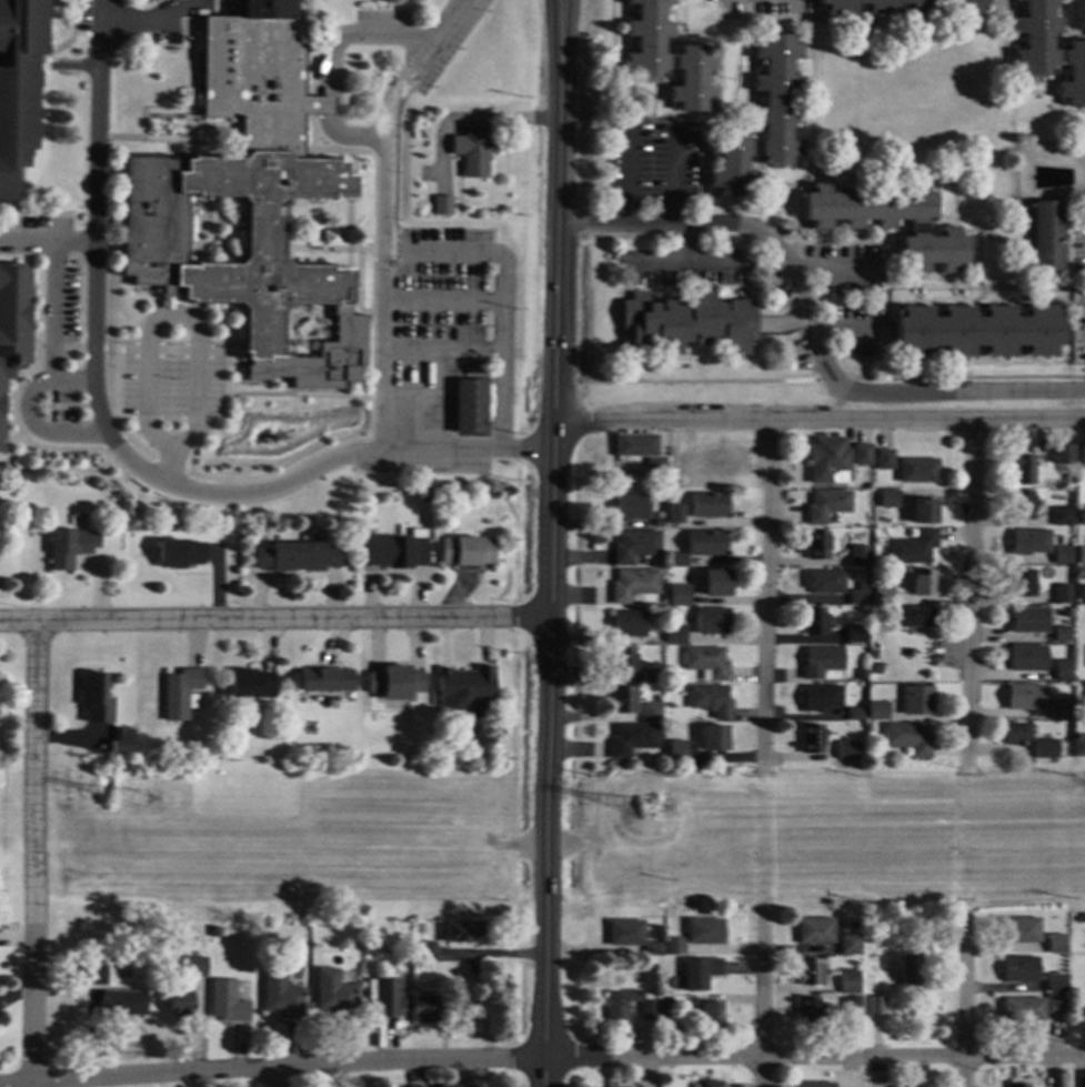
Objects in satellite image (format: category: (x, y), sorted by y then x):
building: (267, 9)
building: (923, 9)
road: (165, 13)
road: (1072, 17)
road: (70, 19)
road: (855, 26)
road: (1067, 30)
road: (690, 31)
road: (1064, 32)
road: (83, 33)
road: (350, 33)
road: (1066, 34)
building: (1049, 51)
building: (669, 57)
road: (44, 60)
road: (2, 63)
road: (73, 66)
road: (616, 66)
road: (751, 76)
road: (1052, 79)
road: (1012, 83)
road: (1044, 83)
road: (1054, 83)
building: (19, 85)
road: (191, 85)
road: (655, 88)
road: (812, 92)
road: (657, 93)
road: (310, 104)
road: (329, 107)
road: (468, 117)
road: (719, 119)
road: (687, 120)
building: (762, 121)
building: (261, 127)
road: (350, 137)
road: (189, 148)
building: (472, 150)
road: (350, 163)
road: (756, 170)
road: (770, 173)
road: (843, 173)
road: (627, 174)
road: (704, 174)
road: (674, 175)
road: (1012, 187)
road: (744, 200)
building: (442, 205)
road: (21, 213)
road: (385, 215)
road: (234, 218)
road: (940, 218)
road: (944, 219)
building: (890, 221)
road: (201, 222)
road: (221, 222)
building: (1047, 236)
road: (210, 240)
road: (48, 241)
road: (687, 242)
road: (326, 249)
road: (1068, 253)
road: (976, 256)
road: (212, 258)
road: (690, 260)
road: (828, 265)
road: (885, 276)
road: (934, 276)
road: (102, 280)
road: (356, 280)
building: (233, 281)
road: (916, 283)
road: (1079, 285)
road: (351, 292)
road: (744, 292)
road: (672, 293)
road: (502, 295)
road: (1041, 295)
road: (999, 296)
road: (999, 296)
road: (1041, 296)
road: (947, 300)
road: (916, 301)
road: (443, 303)
road: (359, 312)
road: (187, 315)
building: (11, 322)
building: (687, 323)
road: (616, 325)
road: (782, 325)
road: (811, 328)
road: (51, 329)
road: (300, 329)
road: (854, 331)
building: (979, 332)
road: (32, 346)
road: (70, 346)
road: (631, 350)
road: (170, 351)
road: (443, 351)
road: (640, 353)
road: (232, 363)
road: (1038, 363)
road: (18, 376)
road: (24, 380)
road: (284, 385)
road: (294, 394)
road: (432, 399)
building: (470, 406)
road: (122, 417)
road: (169, 417)
road: (820, 423)
road: (36, 427)
road: (6, 437)
road: (9, 444)
road: (111, 444)
building: (641, 451)
road: (118, 452)
building: (1064, 454)
building: (1082, 454)
building: (862, 455)
building: (827, 461)
building: (883, 461)
building: (717, 465)
building: (689, 466)
building: (1082, 466)
road: (171, 469)
building: (1023, 470)
building: (917, 472)
road: (269, 477)
building: (1067, 479)
building: (425, 494)
building: (451, 499)
building: (888, 500)
building: (709, 505)
building: (826, 506)
building: (1022, 506)
building: (632, 507)
building: (923, 512)
building: (674, 514)
building: (1083, 515)
building: (1062, 517)
building: (659, 523)
building: (1028, 542)
road: (553, 543)
building: (706, 543)
building: (635, 546)
building: (820, 546)
building: (71, 547)
building: (912, 548)
building: (468, 551)
building: (394, 552)
building: (180, 554)
building: (858, 555)
building: (1062, 555)
building: (1081, 556)
building: (298, 557)
building: (676, 560)
building: (825, 582)
building: (717, 583)
building: (924, 583)
building: (1022, 584)
building: (634, 585)
road: (971, 590)
road: (767, 593)
building: (1062, 594)
building: (1083, 594)
building: (680, 596)
building: (858, 597)
building: (883, 597)
building: (914, 618)
road: (275, 620)
building: (1027, 620)
building: (713, 622)
building: (817, 622)
building: (630, 624)
building: (661, 631)
building: (1062, 633)
building: (857, 635)
building: (676, 636)
building: (874, 644)
building: (875, 655)
building: (1027, 658)
building: (624, 662)
building: (707, 662)
building: (823, 662)
building: (1062, 671)
building: (652, 676)
building: (863, 676)
building: (326, 681)
building: (395, 683)
building: (252, 684)
building: (670, 688)
building: (465, 692)
building: (182, 694)
building: (1027, 697)
building: (97, 698)
building: (824, 698)
building: (623, 701)
building: (713, 701)
building: (918, 701)
building: (1061, 711)
building: (878, 712)
building: (652, 713)
building: (857, 715)
building: (1076, 731)
building: (1015, 733)
building: (716, 738)
building: (911, 738)
building: (633, 739)
building: (814, 739)
building: (124, 741)
building: (1046, 748)
building: (1079, 748)
building: (850, 751)
building: (679, 752)
building: (301, 754)
power tower: (139, 803)
power tower: (652, 811)
road: (542, 844)
road: (33, 854)
building: (1083, 919)
building: (860, 926)
building: (1022, 930)
building: (463, 932)
building: (706, 932)
building: (817, 932)
building: (214, 933)
building: (626, 933)
building: (852, 943)
building: (1057, 944)
building: (675, 947)
building: (654, 949)
building: (423, 950)
building: (195, 967)
building: (653, 968)
building: (1021, 969)
building: (912, 972)
building: (701, 973)
building: (812, 973)
building: (94, 975)
building: (851, 983)
building: (1056, 983)
building: (335, 994)
building: (282, 996)
building: (123, 1003)
building: (227, 1003)
building: (403, 1003)
building: (621, 1004)
road: (963, 1004)
building: (1056, 1004)
building: (179, 1005)
building: (853, 1005)
road: (761, 1006)
building: (877, 1007)
building: (667, 1009)
building: (1024, 1009)
building: (650, 1010)
building: (1078, 1010)
building: (811, 1011)
building: (712, 1016)
road: (542, 1058)
road: (277, 1077)
building: (713, 1085)
building: (815, 1085)
building: (416, 1086)
building: (454, 1086)
building: (903, 1086)
building: (924, 1086)
building: (1019, 1086)

